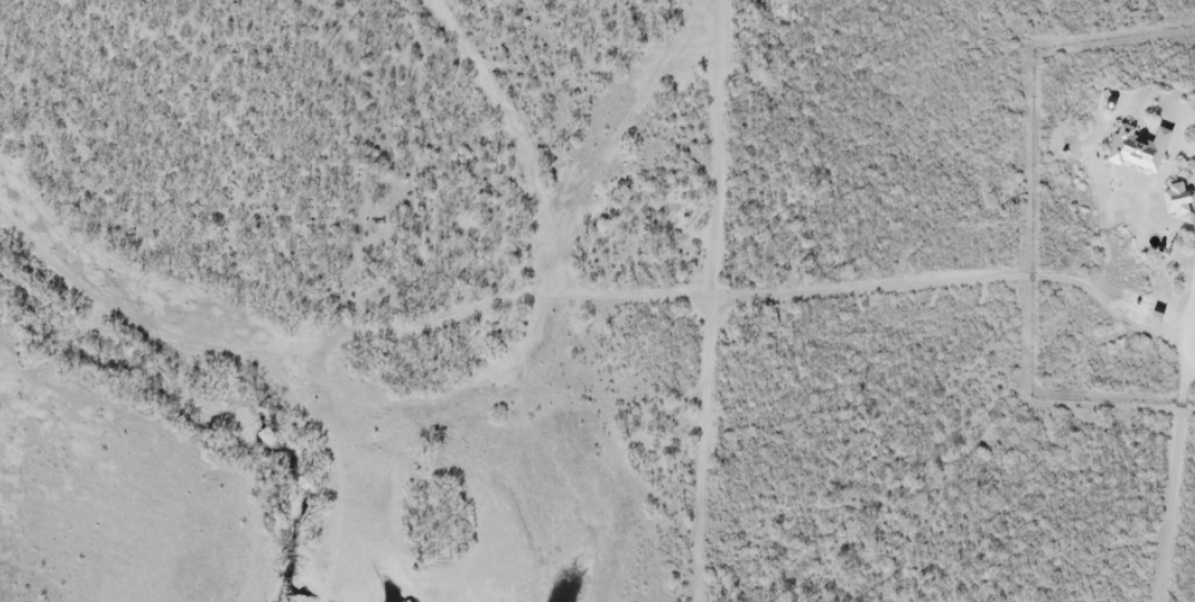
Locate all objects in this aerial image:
road: (1189, 331)

